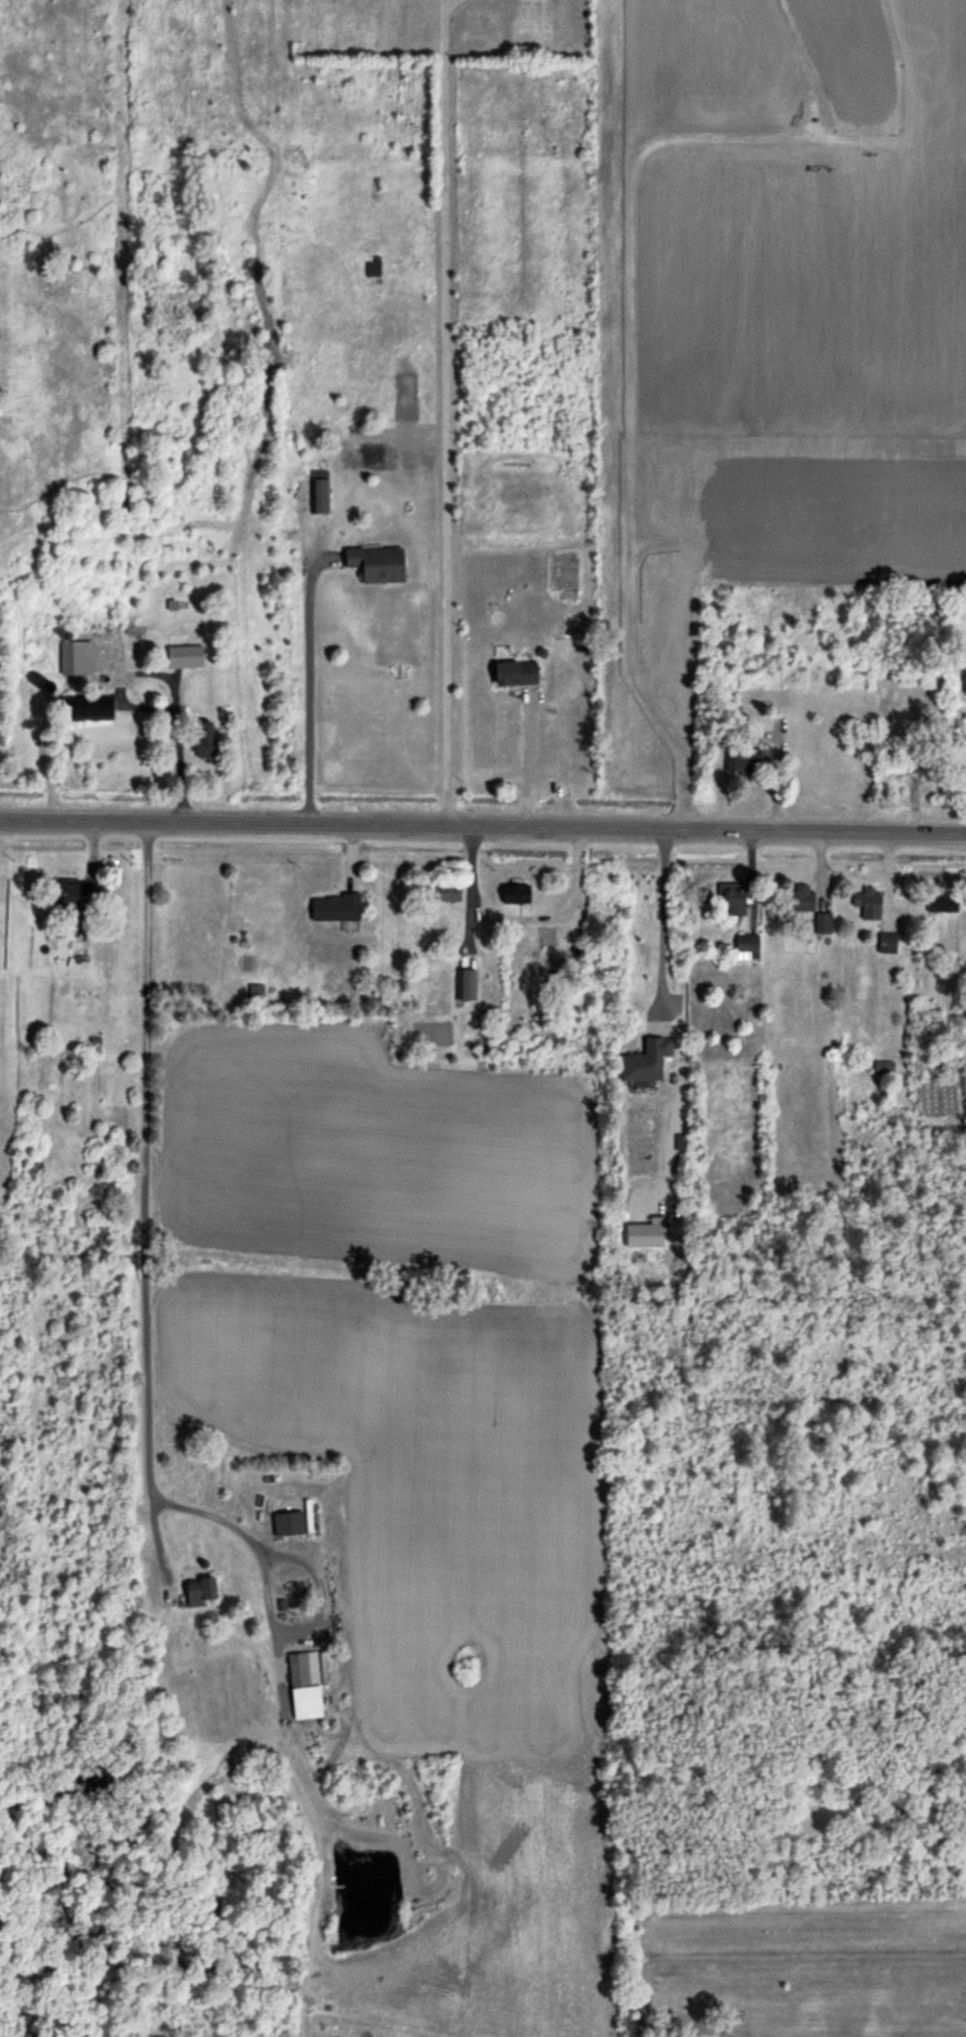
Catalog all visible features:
road: (443, 412)
building: (313, 485)
building: (77, 657)
building: (512, 674)
road: (306, 691)
building: (91, 706)
road: (174, 729)
building: (750, 736)
building: (741, 761)
building: (903, 764)
road: (526, 766)
road: (482, 825)
building: (68, 892)
building: (513, 893)
building: (801, 899)
building: (732, 900)
building: (867, 903)
building: (330, 905)
road: (660, 916)
building: (823, 924)
building: (886, 943)
building: (746, 945)
building: (645, 1061)
building: (883, 1066)
road: (146, 1199)
building: (284, 1522)
building: (193, 1590)
building: (299, 1683)

